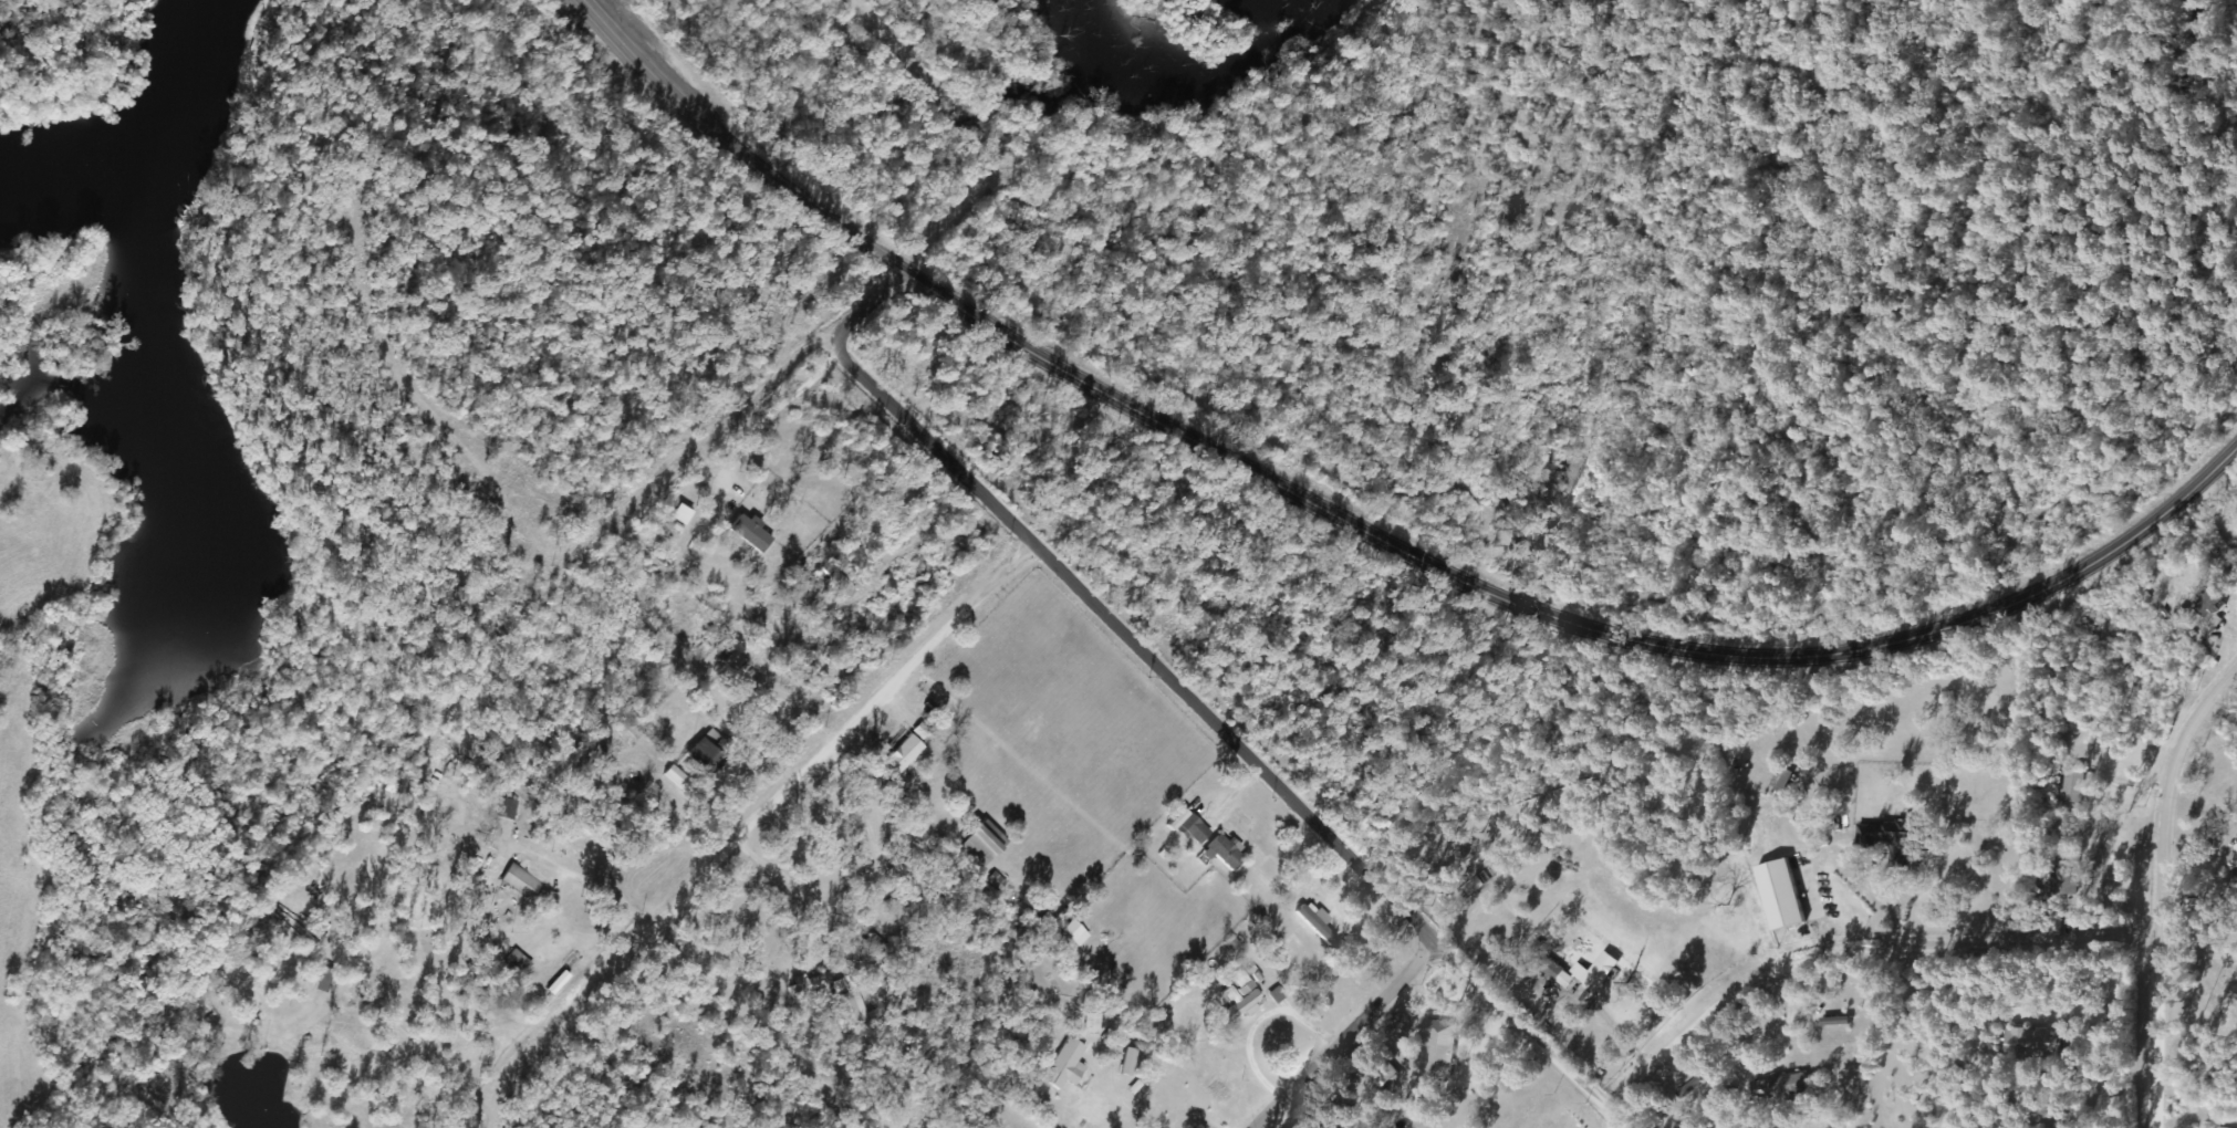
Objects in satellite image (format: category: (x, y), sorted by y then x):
road: (867, 316)
road: (1369, 530)
road: (617, 573)
building: (2204, 605)
building: (728, 660)
road: (1242, 745)
building: (603, 755)
building: (901, 756)
building: (698, 759)
road: (829, 759)
building: (2231, 784)
building: (2070, 786)
building: (1190, 831)
building: (1881, 835)
building: (977, 847)
building: (2234, 853)
building: (1220, 854)
building: (520, 884)
road: (2157, 888)
building: (1072, 934)
building: (513, 964)
road: (1867, 972)
building: (1593, 973)
building: (807, 985)
building: (1235, 1004)
road: (757, 1026)
road: (1359, 1038)
road: (538, 1044)
building: (2029, 1045)
building: (1434, 1051)
building: (1060, 1064)
building: (1775, 1088)
road: (1620, 1121)

